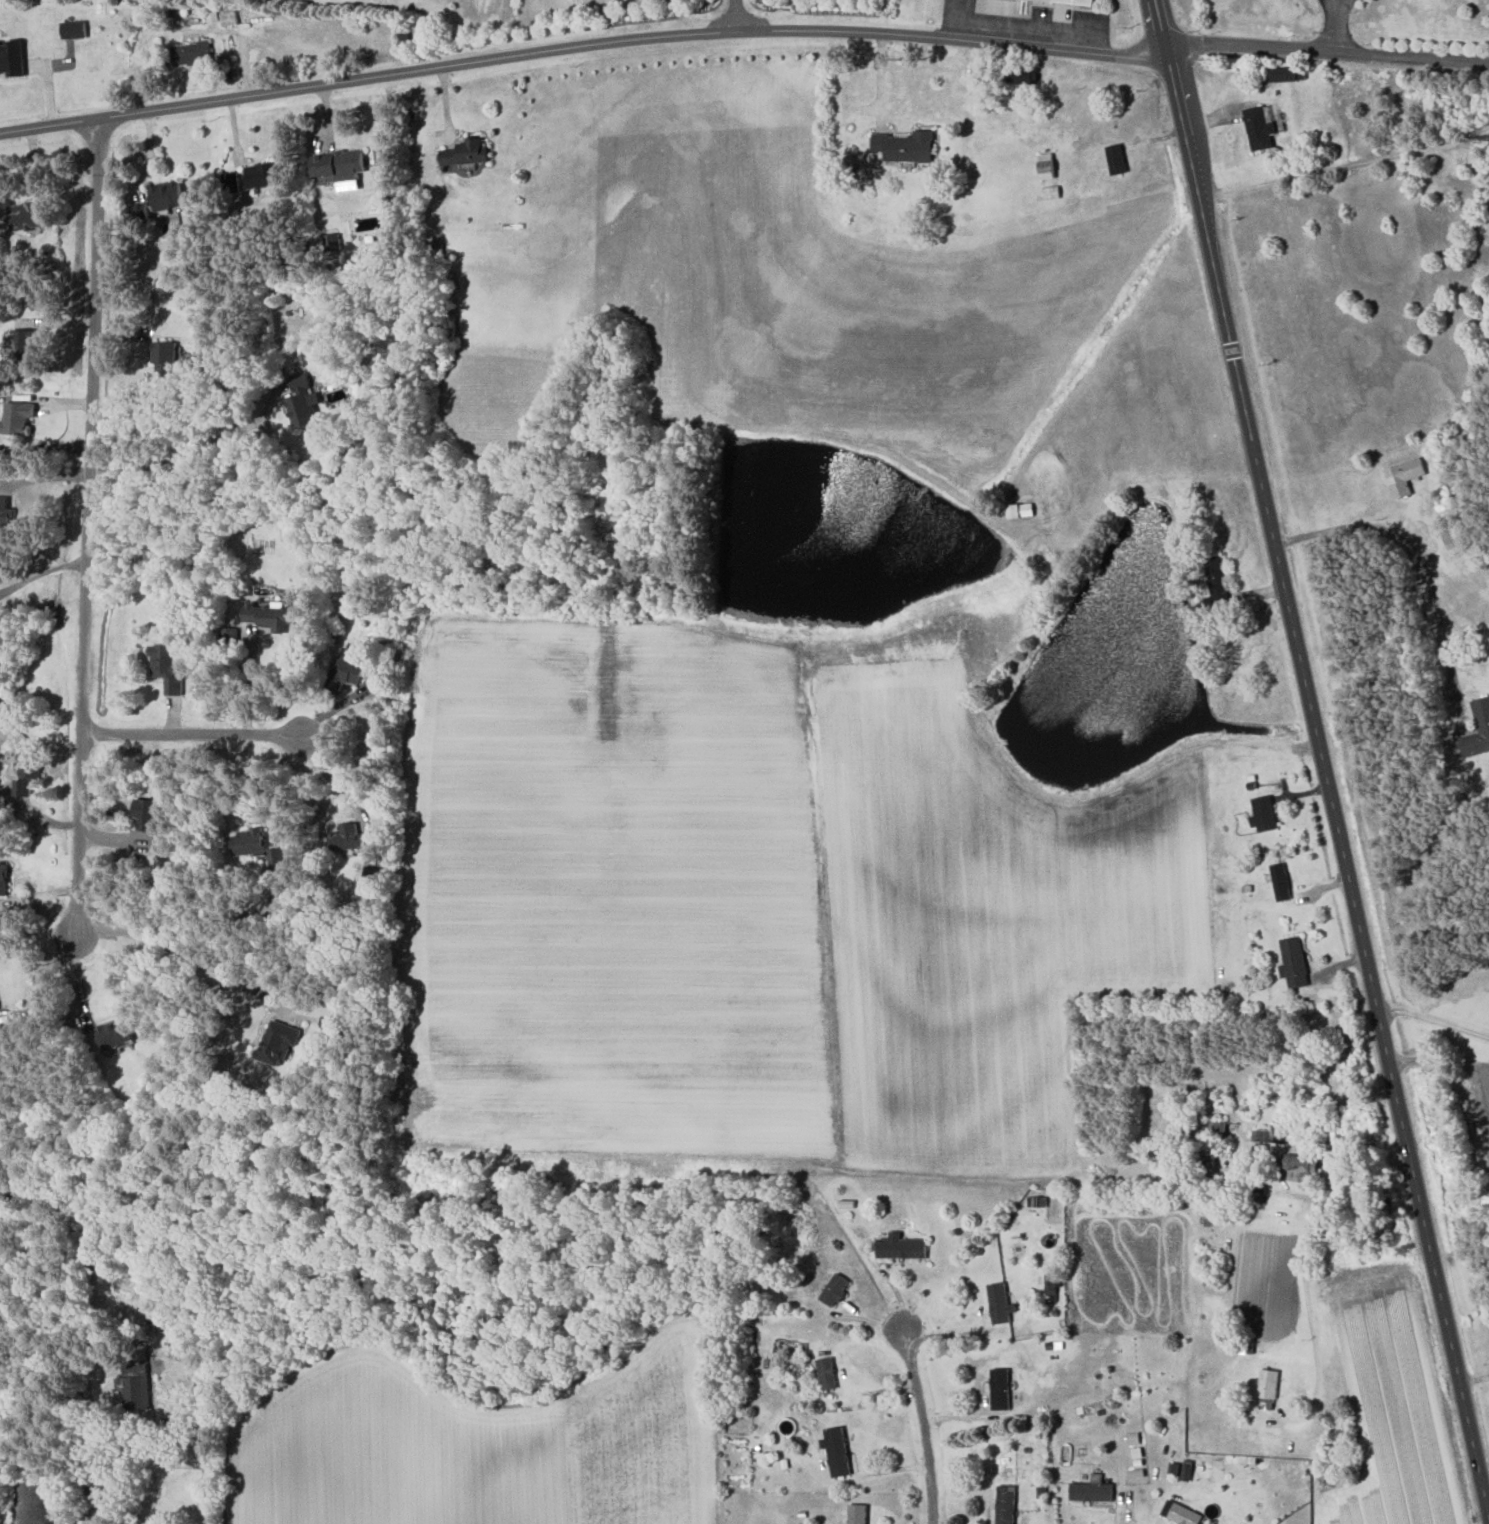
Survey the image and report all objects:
building: (1075, 2)
road: (739, 15)
road: (956, 19)
road: (1332, 26)
building: (73, 28)
road: (581, 46)
road: (1327, 51)
building: (191, 53)
building: (12, 57)
building: (1284, 74)
road: (880, 79)
building: (1259, 128)
building: (906, 147)
building: (466, 152)
building: (1117, 158)
building: (339, 164)
road: (1344, 167)
building: (261, 176)
building: (1051, 192)
building: (167, 195)
building: (140, 211)
building: (24, 215)
road: (1211, 266)
building: (24, 342)
building: (164, 355)
building: (303, 404)
building: (17, 418)
road: (198, 452)
building: (1405, 476)
building: (1441, 499)
building: (1021, 510)
building: (4, 511)
road: (87, 529)
building: (1454, 538)
road: (1411, 562)
road: (41, 573)
building: (271, 617)
building: (166, 666)
building: (347, 671)
road: (250, 684)
building: (1482, 716)
road: (193, 733)
building: (27, 770)
road: (334, 776)
road: (264, 780)
building: (147, 813)
building: (1264, 814)
building: (346, 837)
building: (248, 842)
building: (371, 875)
building: (3, 879)
building: (1281, 882)
building: (274, 907)
road: (186, 954)
building: (1294, 962)
road: (46, 984)
road: (1433, 1021)
road: (1381, 1022)
building: (114, 1034)
building: (278, 1042)
road: (1460, 1102)
building: (1265, 1136)
building: (1208, 1162)
building: (1301, 1166)
building: (901, 1246)
road: (1305, 1275)
road: (891, 1283)
building: (1052, 1285)
building: (835, 1289)
building: (1000, 1303)
road: (852, 1317)
road: (946, 1333)
building: (826, 1373)
building: (1268, 1382)
building: (135, 1384)
building: (1000, 1388)
road: (922, 1426)
building: (836, 1450)
road: (213, 1471)
building: (1092, 1489)
building: (1006, 1504)
road: (1120, 1508)
building: (858, 1513)

